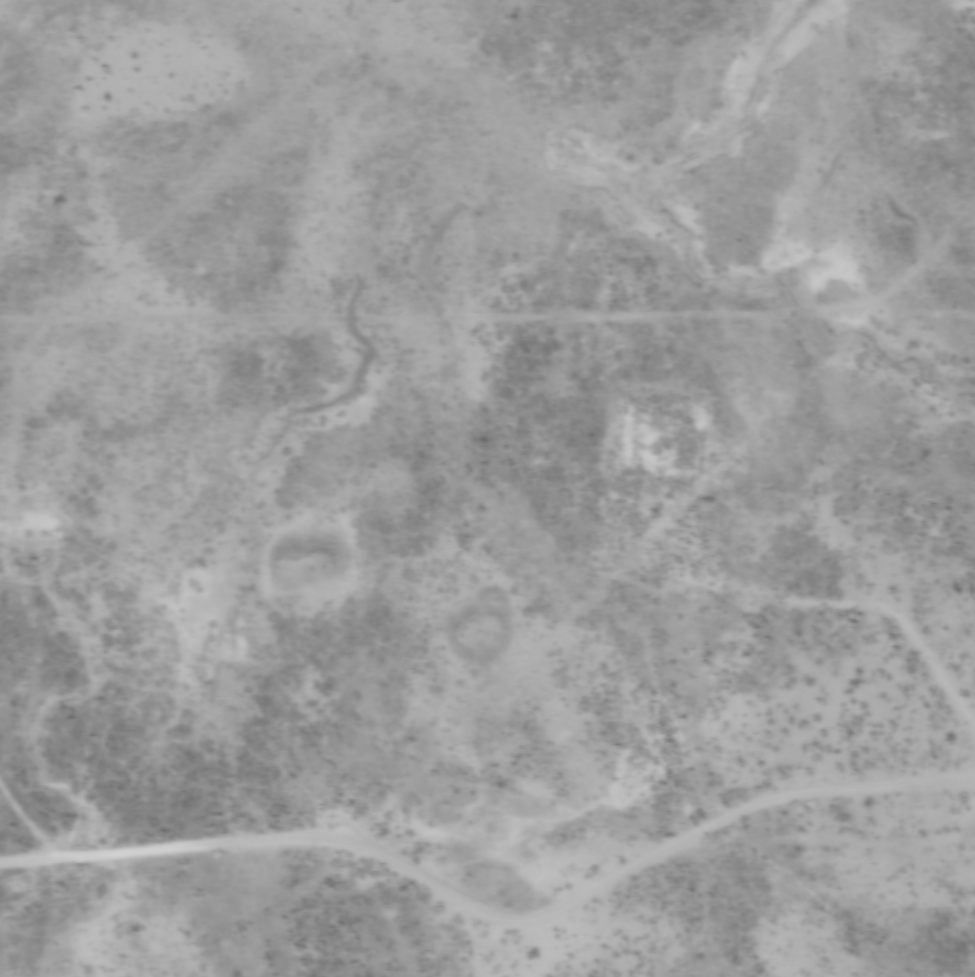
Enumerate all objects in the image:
road: (493, 902)

